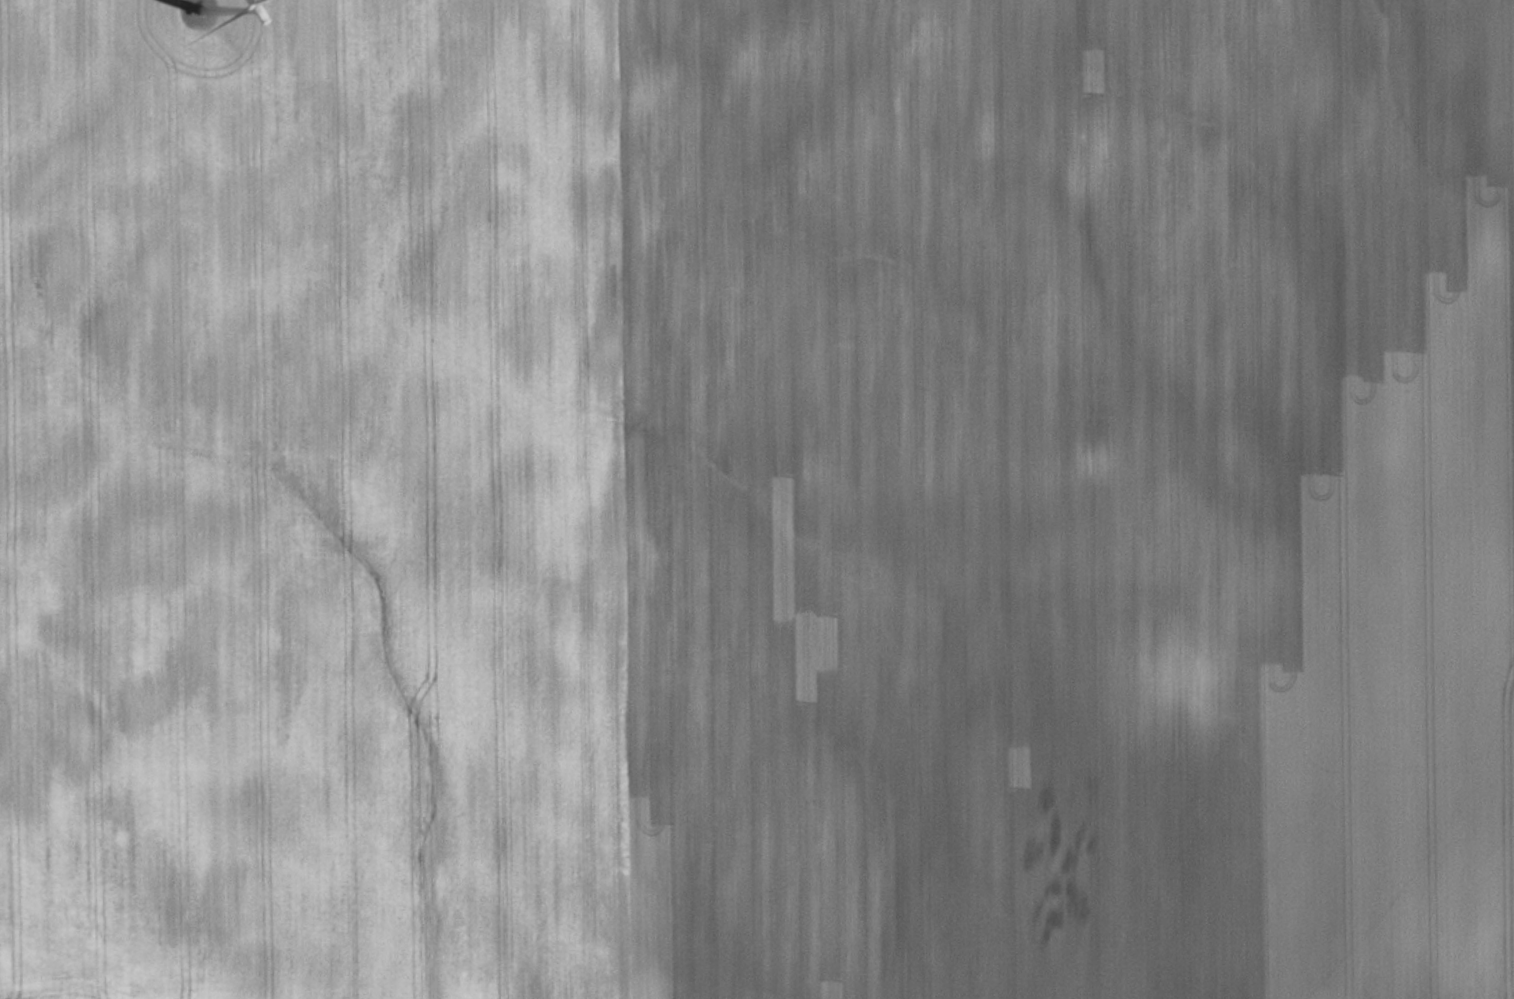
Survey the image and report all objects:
wind turbine: (206, 11)

